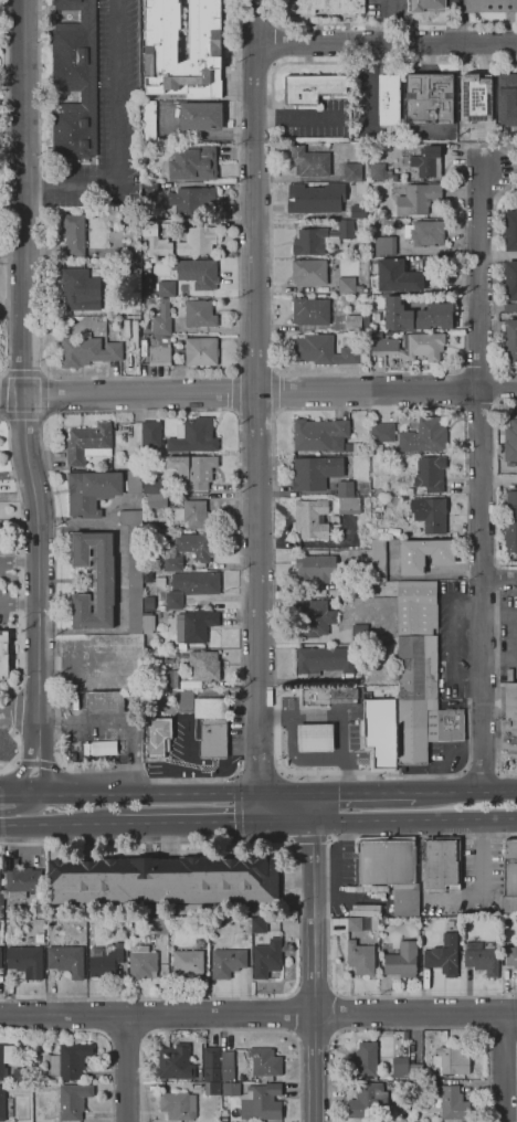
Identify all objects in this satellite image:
building: (426, 4)
building: (325, 6)
building: (489, 6)
road: (255, 22)
road: (386, 23)
road: (275, 43)
road: (386, 43)
building: (204, 50)
road: (254, 67)
building: (74, 81)
building: (313, 87)
building: (477, 96)
building: (389, 99)
building: (429, 99)
building: (507, 99)
building: (201, 116)
road: (295, 117)
building: (148, 123)
road: (11, 127)
road: (114, 136)
building: (366, 159)
building: (310, 161)
building: (428, 161)
building: (193, 163)
building: (352, 171)
building: (377, 171)
building: (394, 177)
road: (6, 188)
building: (147, 188)
road: (253, 197)
building: (315, 199)
building: (418, 199)
building: (190, 200)
building: (358, 211)
building: (134, 213)
building: (170, 213)
building: (511, 231)
building: (74, 233)
building: (428, 233)
building: (320, 237)
building: (156, 240)
building: (198, 241)
building: (384, 245)
building: (446, 265)
building: (308, 272)
building: (197, 273)
building: (401, 275)
building: (510, 279)
building: (347, 285)
building: (75, 289)
building: (166, 289)
building: (510, 307)
building: (310, 310)
building: (200, 313)
building: (397, 314)
building: (435, 316)
building: (110, 318)
building: (162, 319)
building: (356, 321)
building: (127, 328)
building: (135, 334)
building: (510, 341)
building: (412, 346)
road: (23, 350)
building: (159, 350)
building: (88, 351)
building: (201, 351)
building: (326, 351)
road: (44, 373)
road: (357, 373)
road: (139, 377)
road: (496, 388)
road: (498, 388)
road: (462, 389)
road: (275, 391)
road: (236, 392)
road: (240, 395)
road: (0, 405)
road: (148, 410)
road: (23, 414)
road: (465, 419)
building: (382, 432)
building: (151, 434)
building: (319, 434)
building: (193, 436)
building: (424, 436)
building: (510, 441)
building: (88, 443)
building: (498, 447)
building: (145, 451)
building: (193, 469)
building: (315, 472)
building: (430, 474)
road: (479, 479)
road: (495, 481)
building: (155, 486)
building: (345, 488)
building: (98, 489)
building: (156, 500)
building: (349, 505)
building: (431, 514)
building: (194, 515)
building: (312, 518)
building: (510, 522)
building: (196, 546)
building: (425, 553)
road: (21, 558)
building: (378, 560)
road: (18, 561)
building: (172, 563)
building: (134, 568)
building: (316, 568)
road: (498, 576)
building: (94, 579)
road: (498, 579)
building: (160, 580)
building: (197, 583)
building: (175, 600)
road: (18, 602)
building: (161, 607)
road: (257, 608)
building: (318, 618)
building: (148, 622)
building: (194, 626)
building: (359, 633)
building: (149, 656)
building: (2, 657)
building: (169, 658)
building: (325, 659)
building: (204, 665)
building: (509, 675)
building: (420, 676)
building: (146, 677)
building: (168, 678)
road: (497, 682)
road: (18, 687)
building: (329, 696)
building: (106, 702)
road: (17, 705)
road: (18, 710)
road: (341, 719)
building: (509, 719)
building: (208, 722)
building: (380, 731)
building: (158, 735)
building: (316, 738)
gas station: (316, 738)
building: (102, 747)
road: (36, 748)
road: (18, 754)
road: (258, 772)
road: (465, 792)
road: (19, 793)
road: (173, 793)
traffic signals: (260, 793)
traffic signals: (310, 793)
road: (361, 793)
road: (19, 805)
road: (238, 806)
road: (310, 807)
road: (388, 821)
road: (186, 822)
traffic signals: (258, 822)
traffic signals: (312, 822)
road: (57, 824)
road: (308, 840)
building: (441, 865)
road: (313, 868)
building: (390, 869)
building: (510, 878)
building: (21, 879)
building: (163, 879)
building: (40, 909)
road: (327, 913)
road: (297, 918)
building: (381, 920)
building: (361, 923)
building: (258, 924)
building: (158, 925)
building: (12, 928)
building: (462, 930)
building: (507, 930)
building: (40, 938)
building: (118, 944)
building: (444, 955)
building: (362, 956)
building: (0, 957)
building: (266, 957)
building: (511, 957)
building: (481, 959)
building: (66, 960)
building: (141, 960)
building: (402, 960)
building: (25, 961)
building: (188, 962)
building: (228, 962)
building: (104, 963)
road: (314, 965)
road: (313, 989)
road: (294, 1012)
road: (154, 1014)
road: (257, 1014)
road: (338, 1014)
road: (93, 1015)
road: (409, 1028)
road: (220, 1029)
road: (96, 1030)
road: (314, 1036)
road: (126, 1037)
building: (6, 1059)
building: (451, 1060)
building: (67, 1061)
building: (265, 1061)
building: (363, 1061)
building: (176, 1062)
building: (211, 1063)
building: (228, 1066)
building: (400, 1067)
road: (503, 1067)
road: (126, 1068)
road: (315, 1068)
building: (416, 1071)
building: (22, 1075)
building: (402, 1084)
building: (431, 1087)
building: (21, 1088)
building: (212, 1088)
building: (73, 1100)
building: (255, 1100)
building: (368, 1101)
building: (2, 1103)
building: (453, 1103)
building: (178, 1105)
building: (224, 1120)

